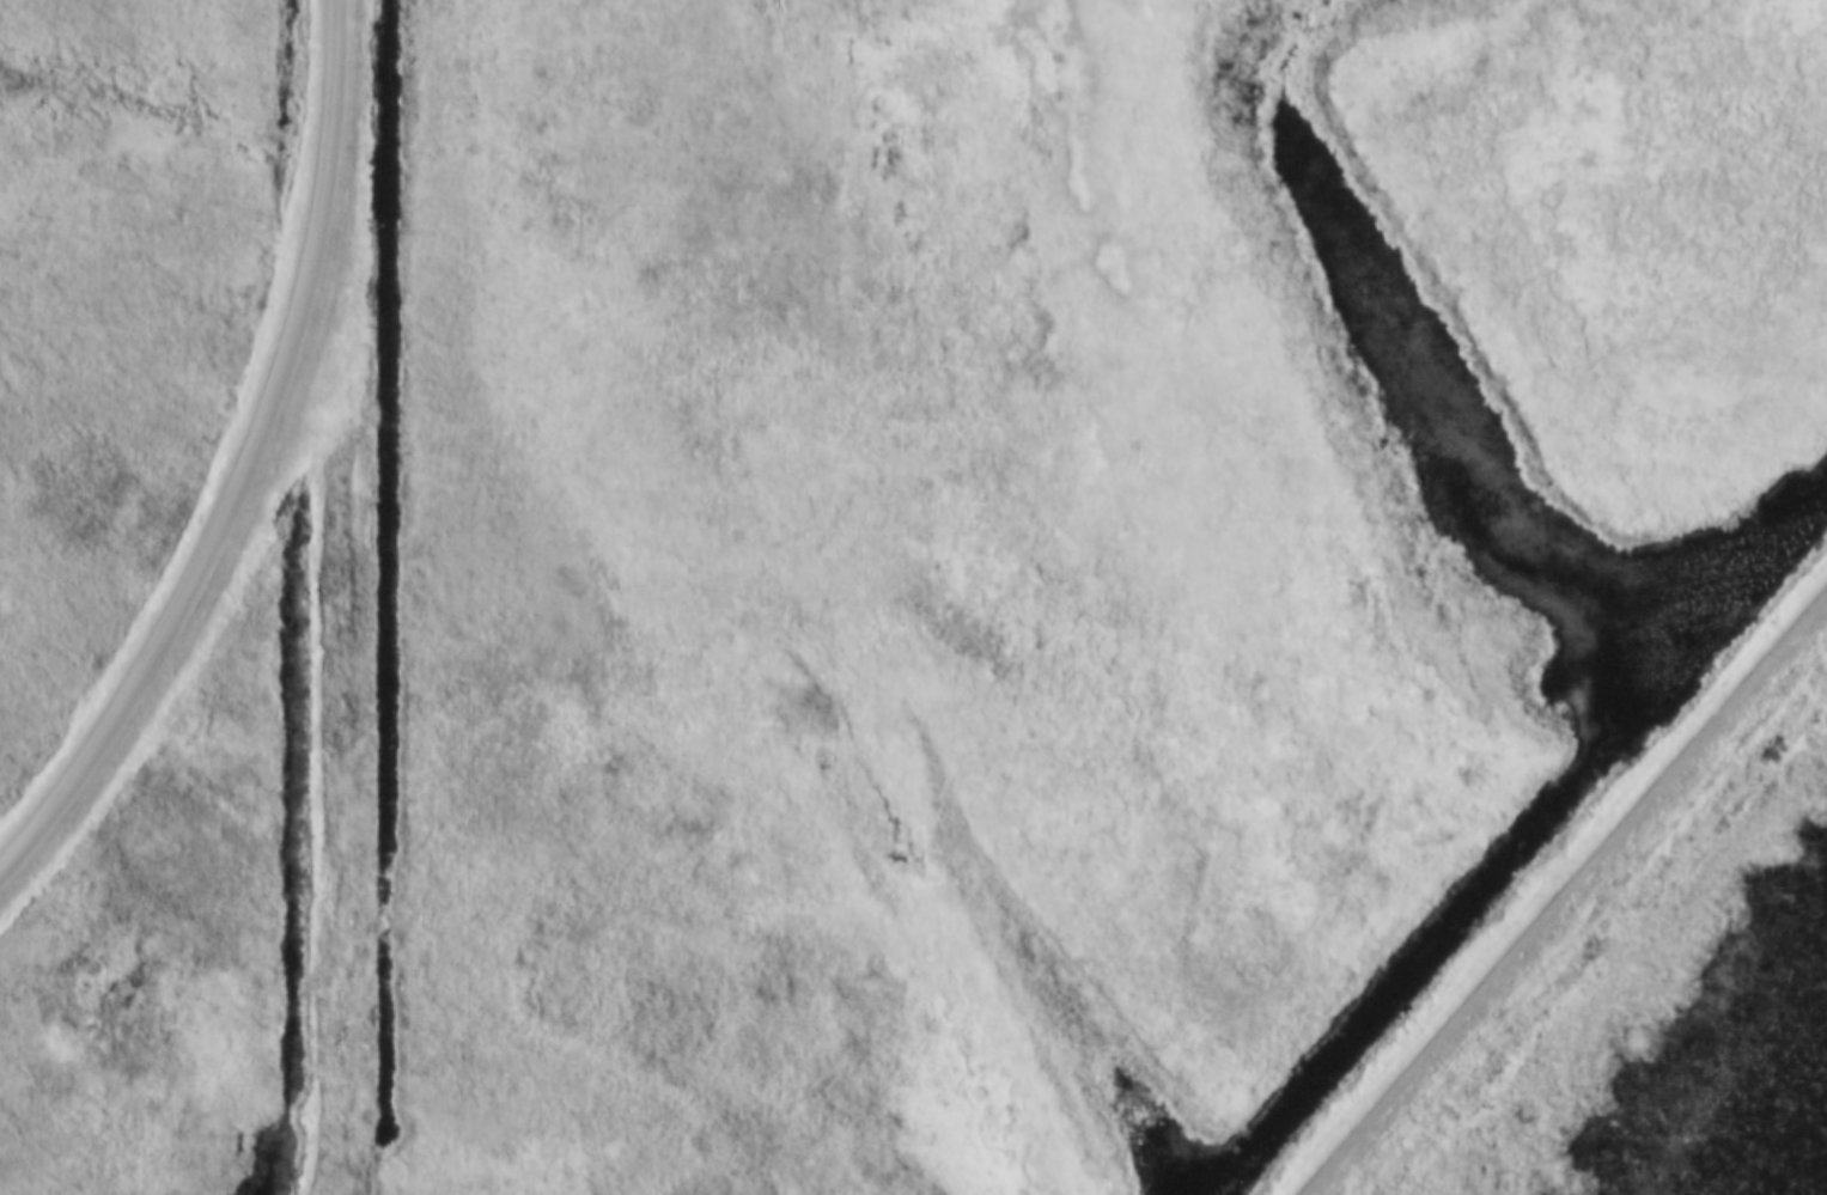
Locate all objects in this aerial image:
road: (339, 50)
road: (226, 510)
road: (1564, 892)
dam: (1582, 915)

